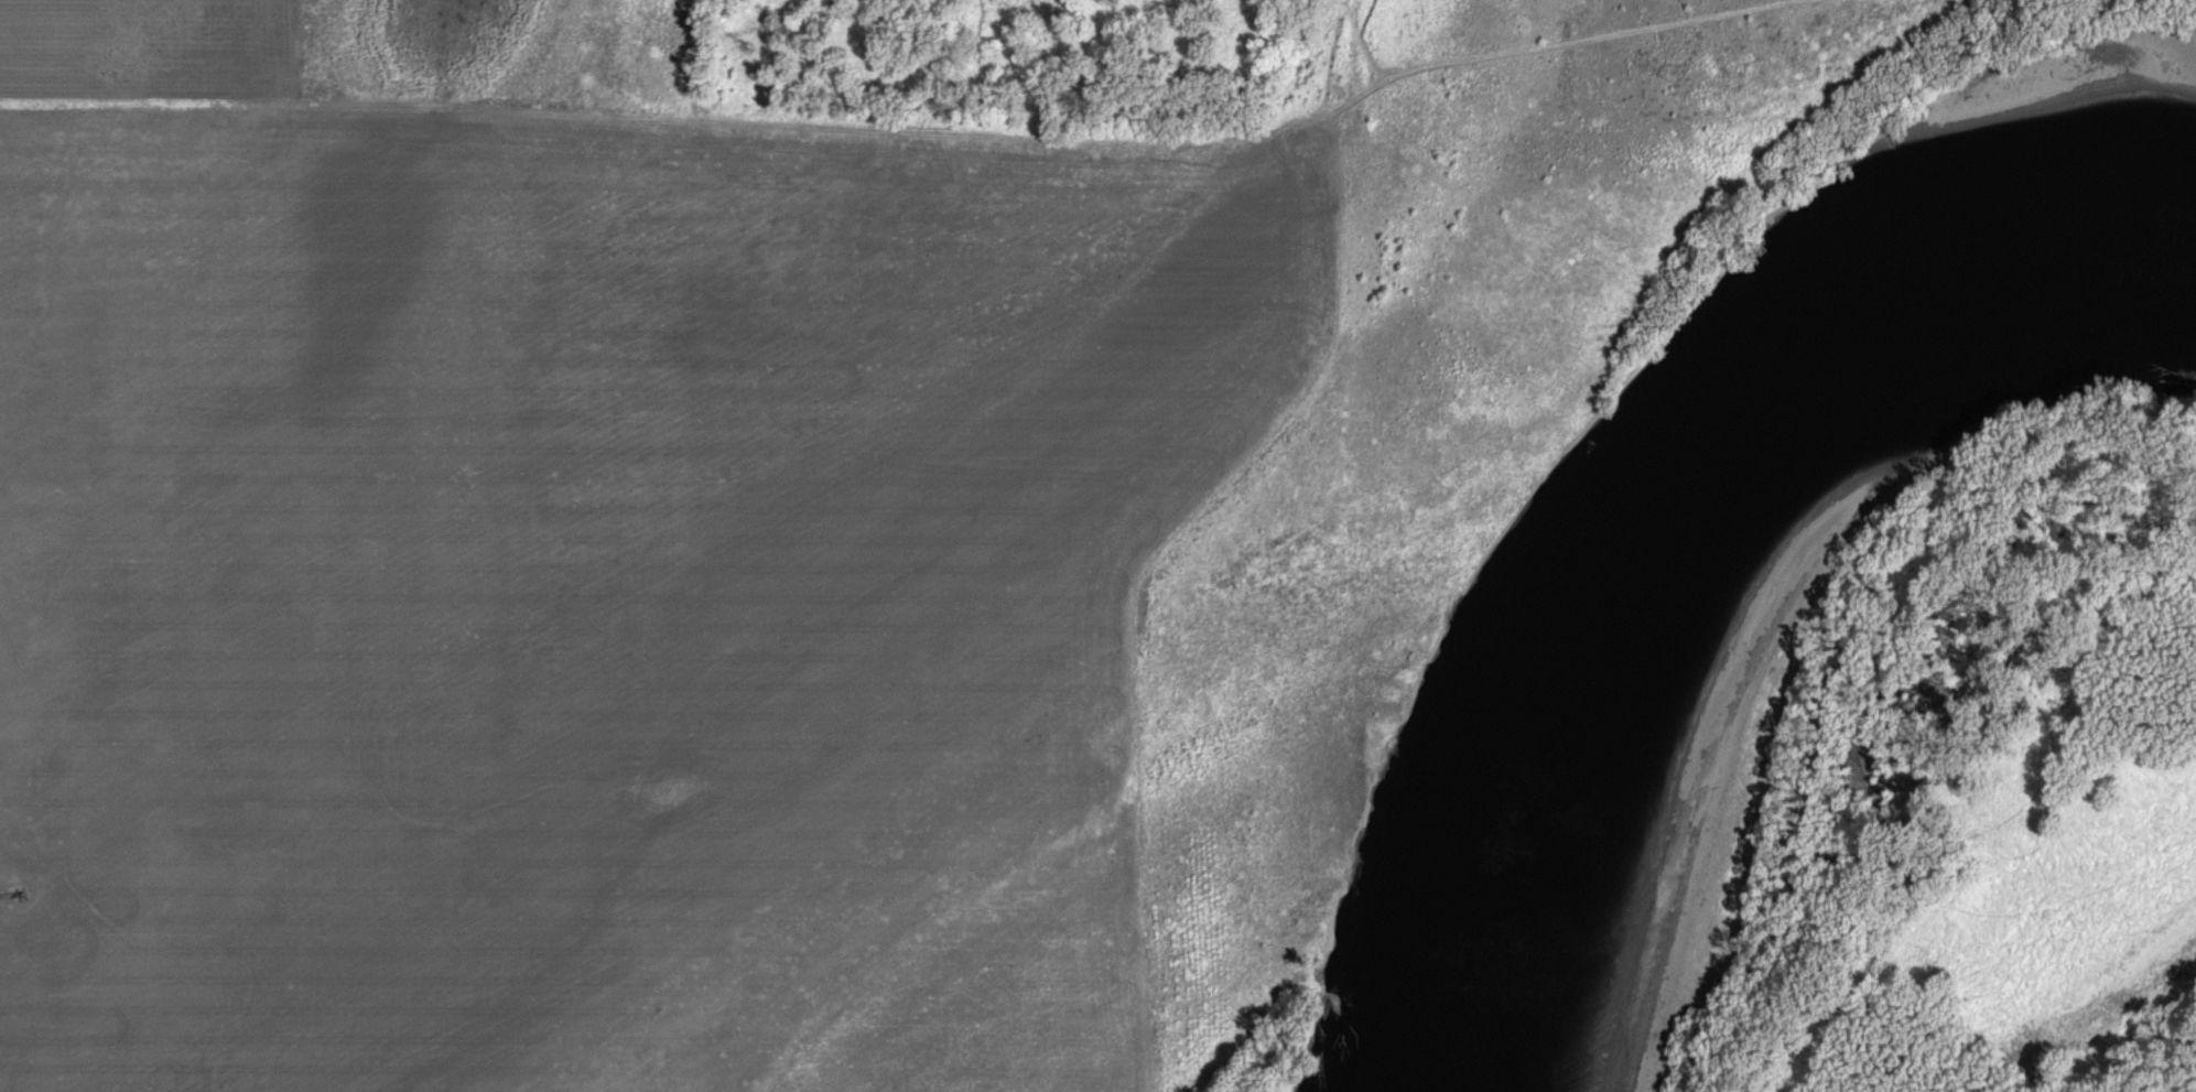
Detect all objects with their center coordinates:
river: (1656, 476)

